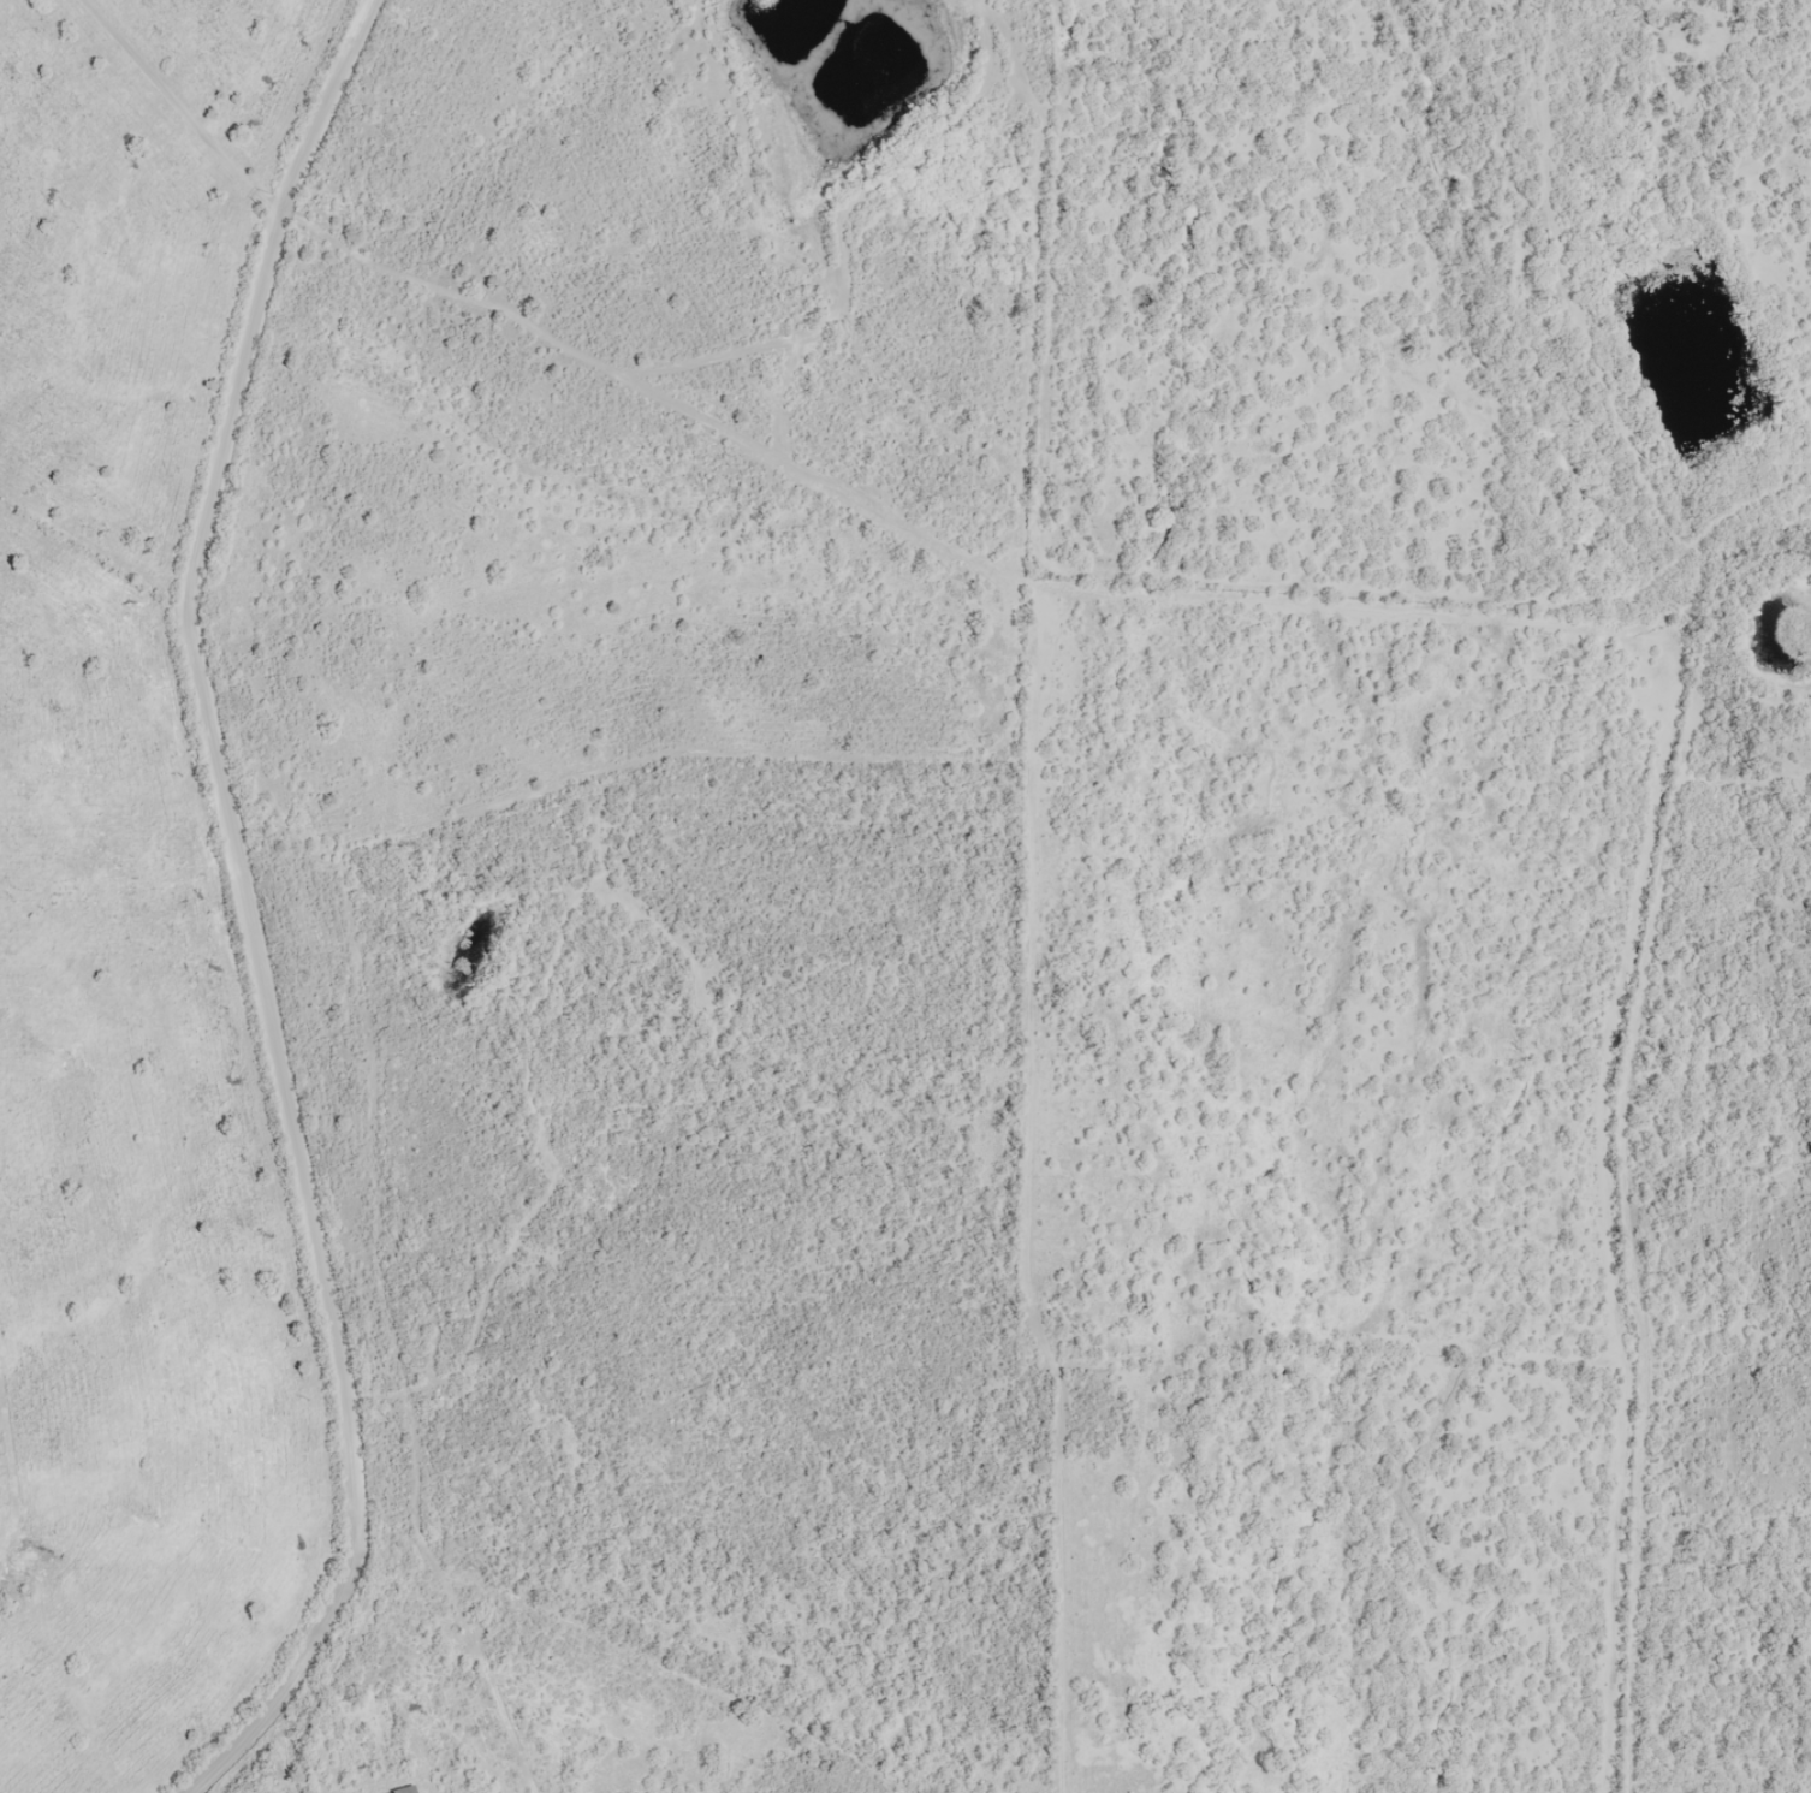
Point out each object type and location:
road: (994, 0)
road: (148, 130)
road: (197, 918)
road: (420, 1639)
building: (403, 1791)

